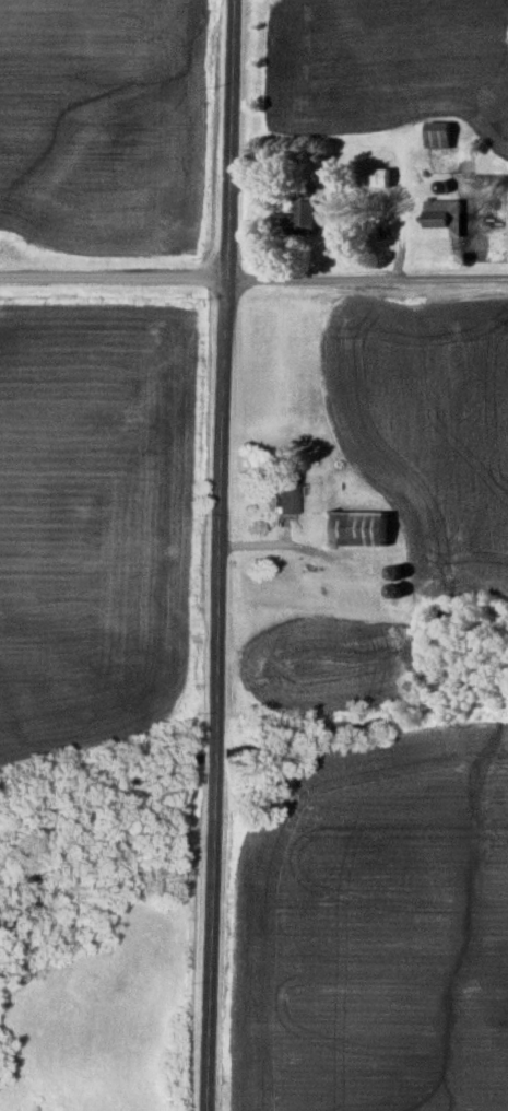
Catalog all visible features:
building: (437, 133)
building: (376, 177)
building: (441, 218)
building: (300, 220)
road: (113, 276)
road: (367, 277)
building: (290, 491)
building: (362, 528)
road: (284, 547)
road: (223, 555)

